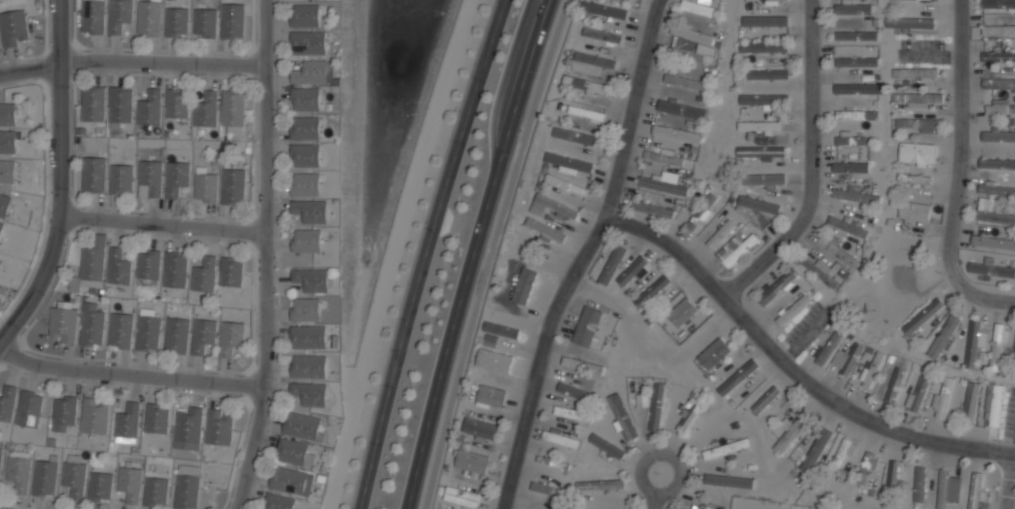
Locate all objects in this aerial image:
building: (771, 1)
building: (998, 4)
building: (698, 8)
building: (853, 8)
building: (604, 9)
building: (119, 16)
building: (305, 16)
building: (92, 17)
building: (149, 19)
building: (767, 20)
building: (232, 22)
building: (909, 22)
building: (176, 23)
building: (204, 24)
building: (13, 28)
building: (998, 30)
building: (692, 32)
building: (856, 33)
building: (603, 34)
building: (308, 44)
building: (760, 49)
building: (687, 53)
building: (998, 56)
road: (129, 61)
building: (856, 61)
building: (590, 62)
building: (915, 72)
building: (310, 73)
building: (767, 73)
building: (686, 81)
building: (999, 83)
building: (587, 85)
building: (859, 88)
building: (917, 97)
building: (762, 99)
building: (305, 100)
building: (177, 105)
building: (92, 107)
building: (1000, 107)
building: (120, 108)
building: (681, 108)
building: (149, 109)
building: (232, 109)
building: (206, 111)
building: (586, 112)
building: (8, 113)
building: (856, 115)
building: (916, 124)
building: (759, 125)
building: (305, 128)
building: (676, 133)
building: (577, 135)
building: (998, 135)
building: (850, 138)
building: (8, 141)
road: (961, 144)
building: (760, 151)
building: (917, 152)
building: (664, 156)
building: (305, 157)
building: (997, 159)
building: (569, 163)
road: (812, 167)
building: (857, 167)
building: (7, 171)
building: (93, 174)
building: (914, 177)
road: (57, 178)
building: (119, 179)
building: (149, 179)
building: (175, 179)
building: (764, 179)
building: (565, 183)
building: (662, 183)
building: (305, 186)
building: (232, 187)
building: (205, 188)
building: (996, 189)
building: (856, 195)
building: (758, 203)
building: (4, 205)
building: (551, 206)
building: (653, 209)
building: (914, 210)
building: (994, 211)
building: (310, 212)
building: (702, 212)
road: (159, 222)
building: (847, 226)
building: (1, 227)
building: (719, 234)
building: (544, 237)
building: (306, 241)
building: (993, 242)
building: (740, 249)
building: (837, 250)
road: (425, 252)
road: (473, 252)
road: (490, 252)
road: (587, 255)
road: (259, 256)
building: (90, 265)
building: (612, 265)
building: (148, 266)
building: (118, 268)
building: (991, 269)
building: (632, 270)
building: (175, 271)
building: (819, 271)
building: (231, 273)
building: (204, 276)
building: (312, 281)
building: (777, 286)
building: (652, 290)
building: (522, 294)
road: (986, 300)
building: (793, 309)
building: (305, 310)
building: (682, 312)
building: (922, 316)
building: (63, 324)
building: (91, 326)
building: (587, 326)
building: (501, 329)
building: (120, 331)
building: (147, 334)
building: (943, 335)
building: (176, 336)
building: (203, 336)
building: (308, 337)
building: (231, 338)
building: (974, 341)
building: (829, 346)
building: (998, 347)
building: (713, 352)
building: (850, 358)
building: (495, 360)
building: (582, 364)
building: (1014, 364)
building: (308, 367)
building: (871, 369)
road: (125, 370)
road: (793, 371)
building: (737, 377)
building: (895, 384)
building: (576, 391)
building: (309, 394)
building: (919, 394)
building: (491, 395)
building: (944, 397)
building: (641, 400)
building: (970, 401)
building: (7, 403)
building: (760, 404)
building: (993, 405)
building: (657, 406)
building: (29, 409)
building: (693, 410)
building: (64, 411)
building: (570, 413)
building: (622, 416)
building: (94, 417)
building: (157, 420)
building: (127, 424)
building: (187, 425)
building: (302, 426)
building: (219, 429)
building: (479, 429)
building: (791, 432)
building: (562, 437)
building: (606, 445)
building: (817, 446)
building: (727, 448)
building: (293, 453)
building: (841, 454)
building: (0, 462)
building: (471, 462)
building: (866, 467)
building: (18, 471)
building: (893, 473)
building: (74, 475)
building: (44, 478)
building: (728, 480)
building: (288, 481)
building: (129, 483)
road: (1009, 483)
building: (600, 484)
building: (919, 484)
road: (658, 486)
building: (100, 487)
building: (546, 488)
building: (943, 488)
building: (155, 492)
building: (186, 492)
building: (979, 493)
building: (461, 496)
building: (278, 502)
building: (680, 508)

